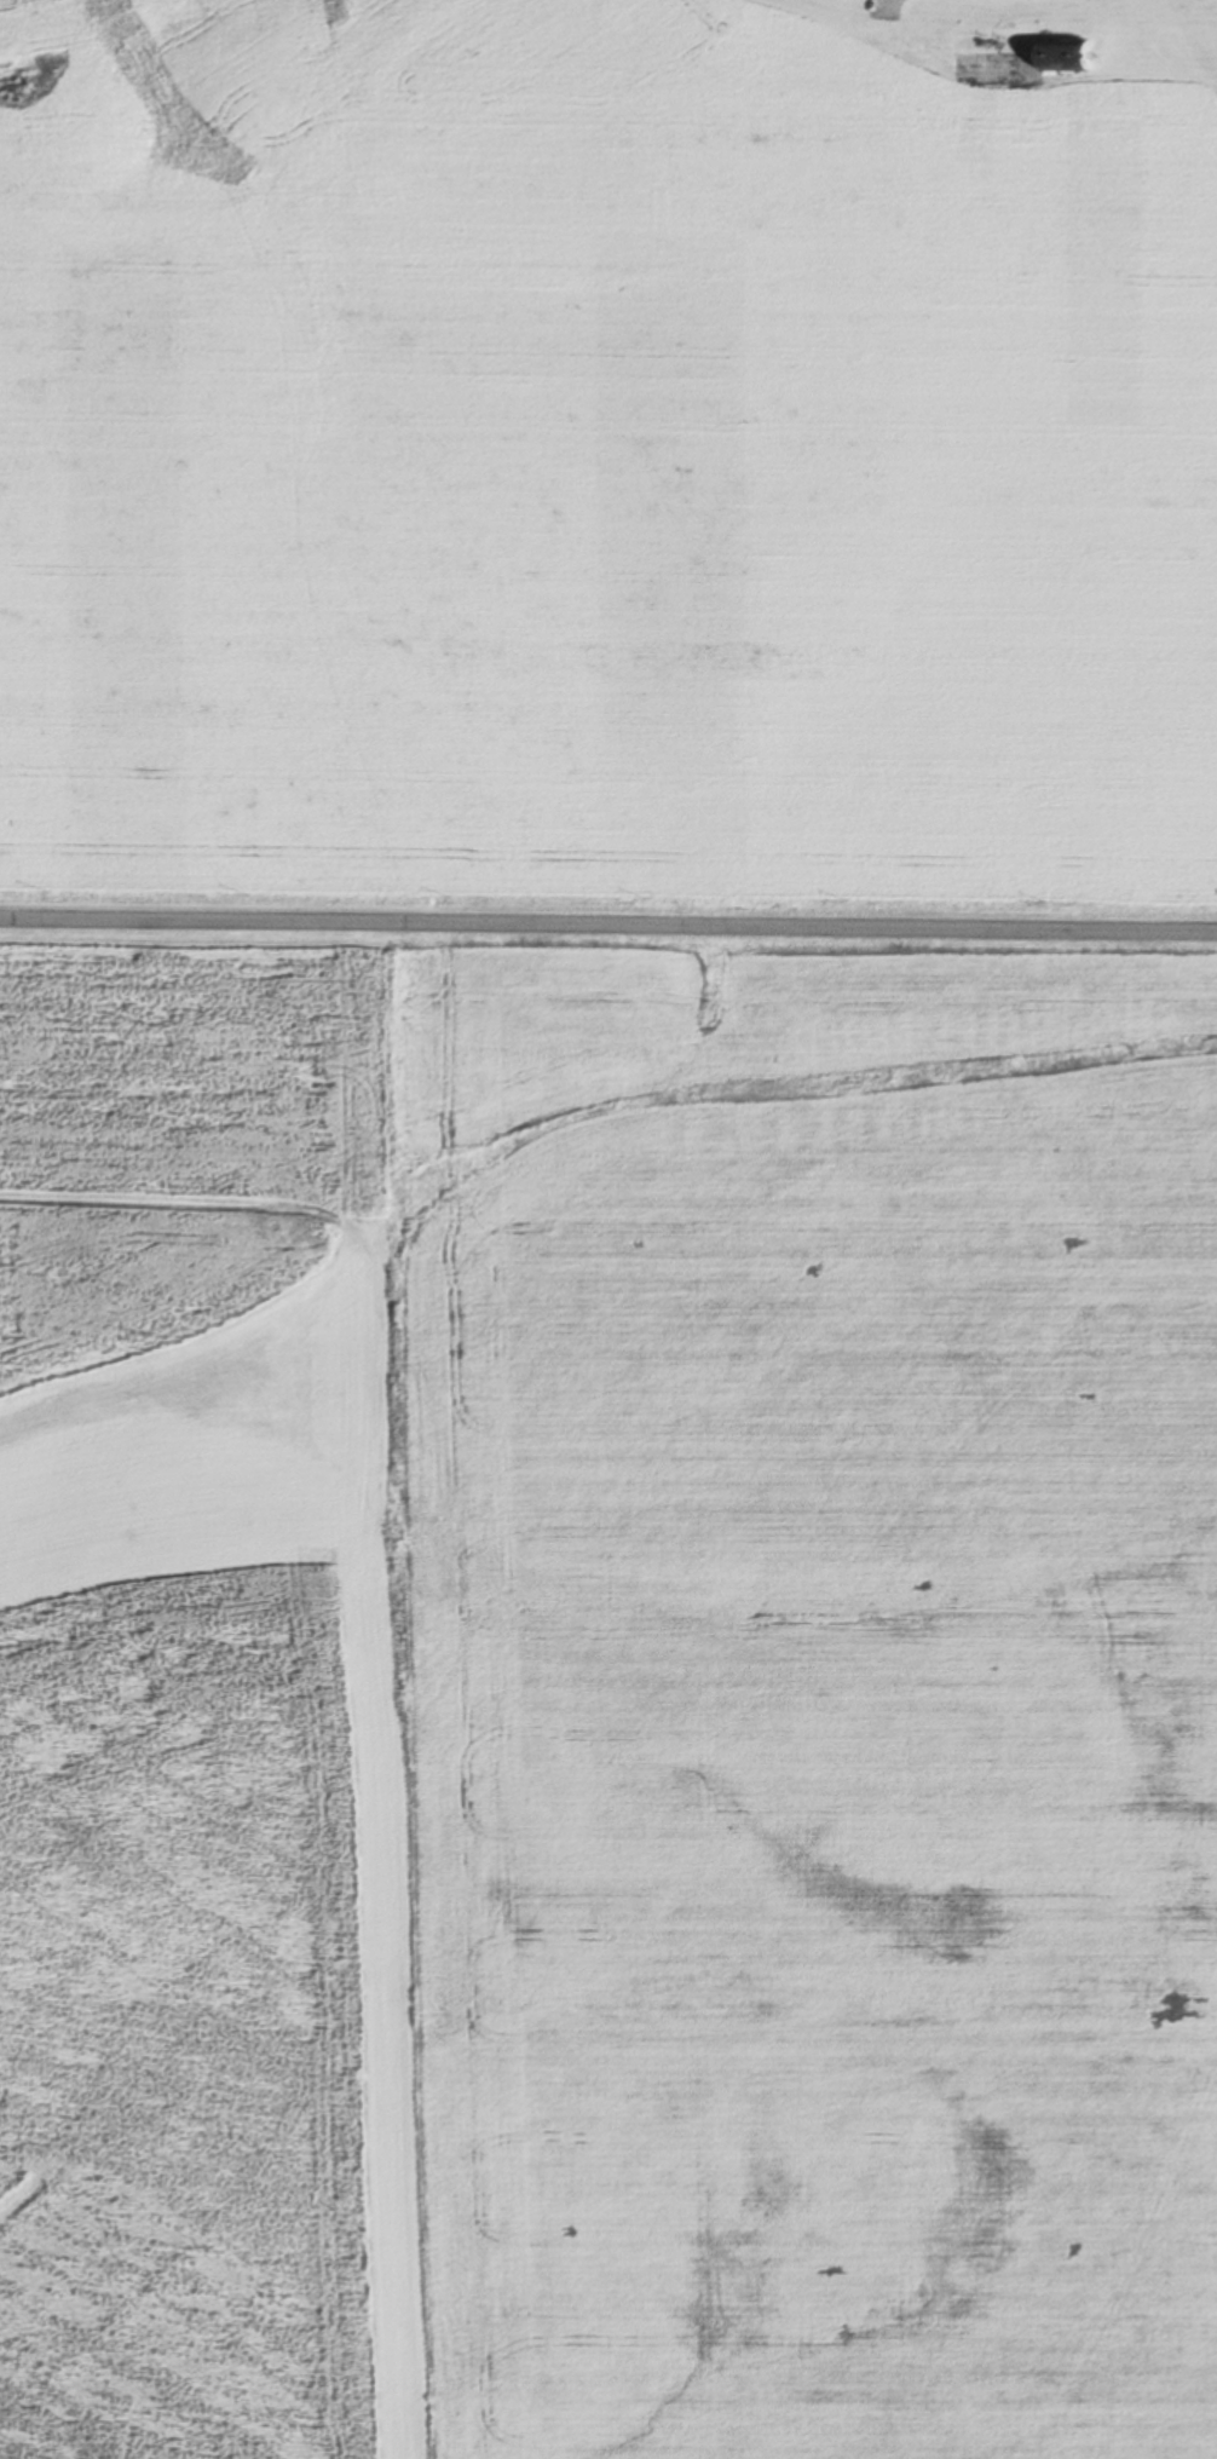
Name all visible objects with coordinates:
building: (985, 47)
building: (1061, 56)
road: (608, 922)

